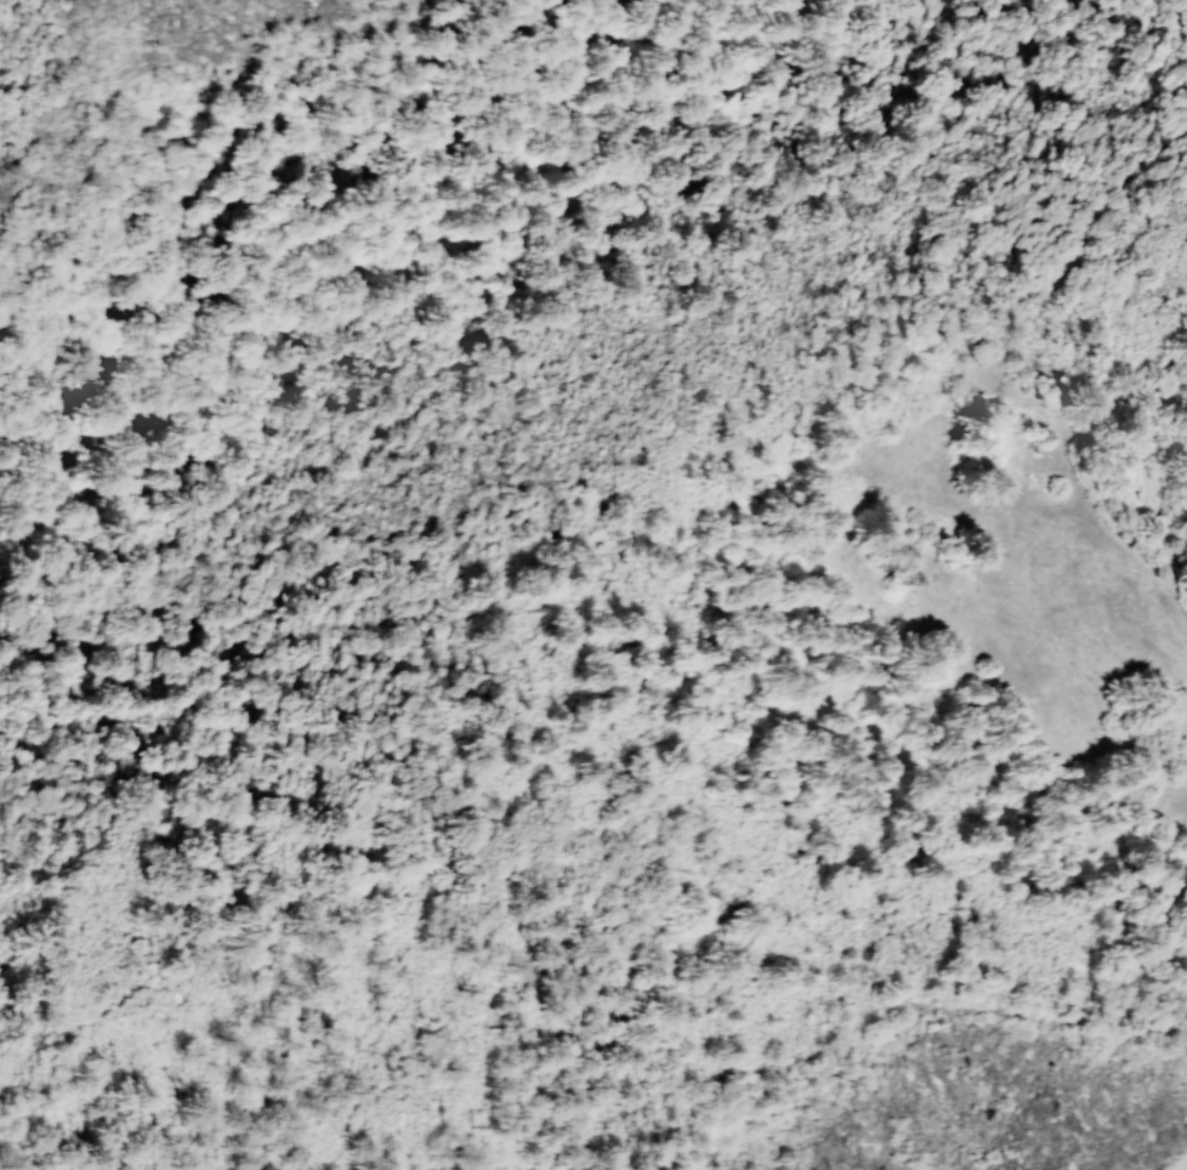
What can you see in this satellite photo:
road: (1100, 231)
road: (1137, 558)
road: (603, 967)

